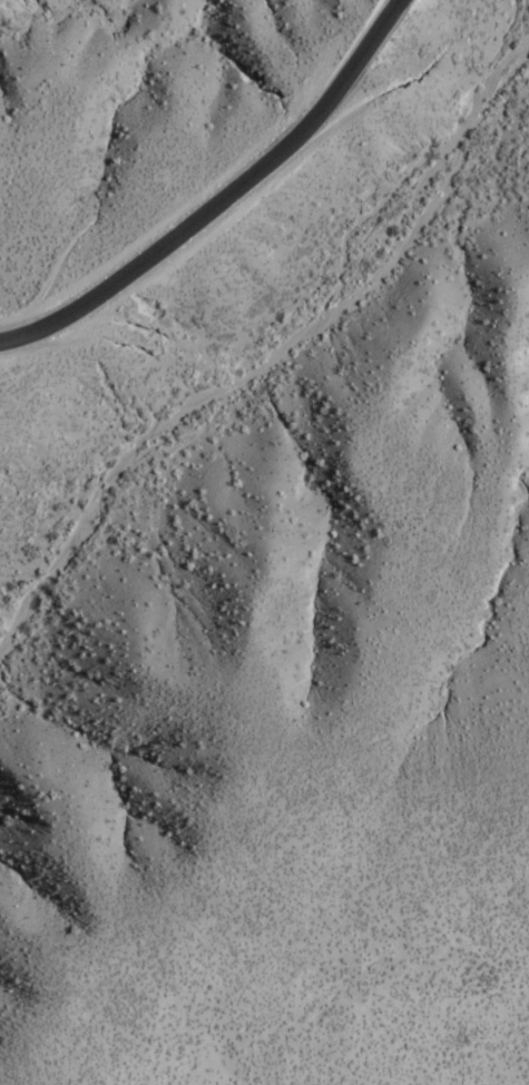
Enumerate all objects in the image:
road: (228, 201)

